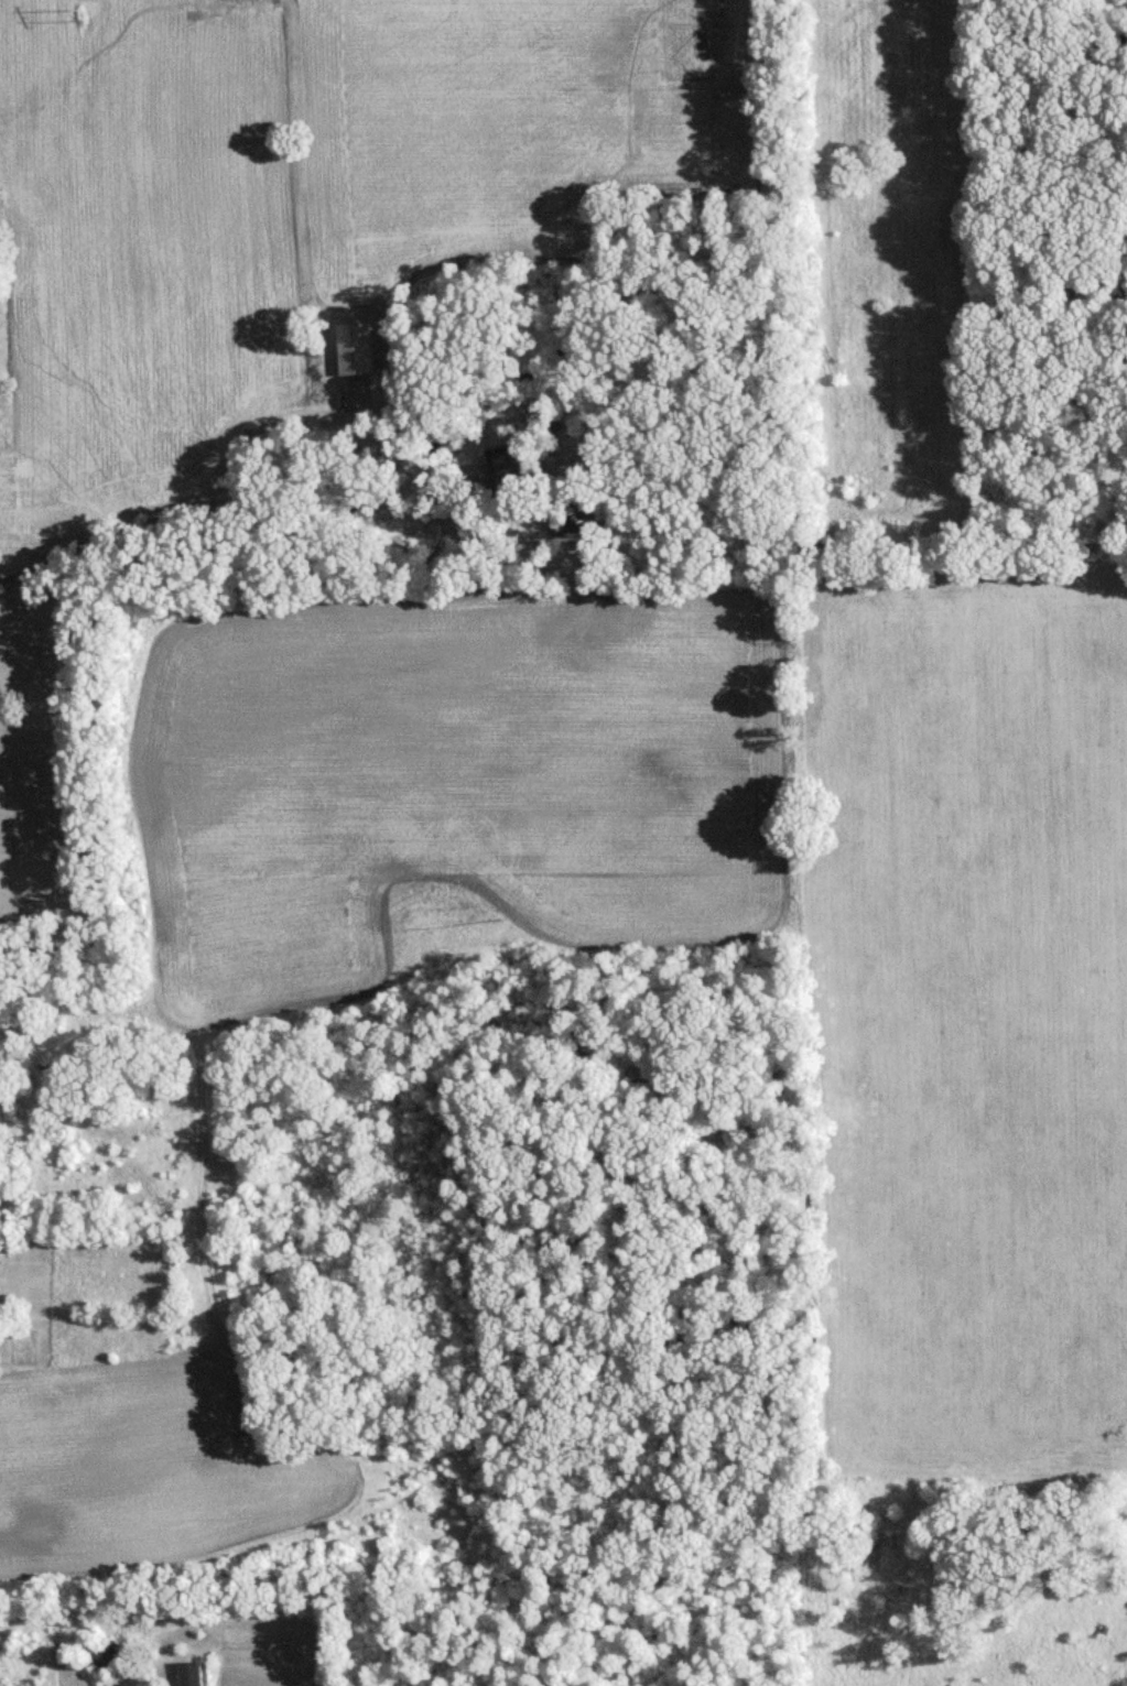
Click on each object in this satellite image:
power tower: (76, 14)
building: (509, 467)
road: (245, 487)
building: (102, 1653)
building: (193, 1673)

